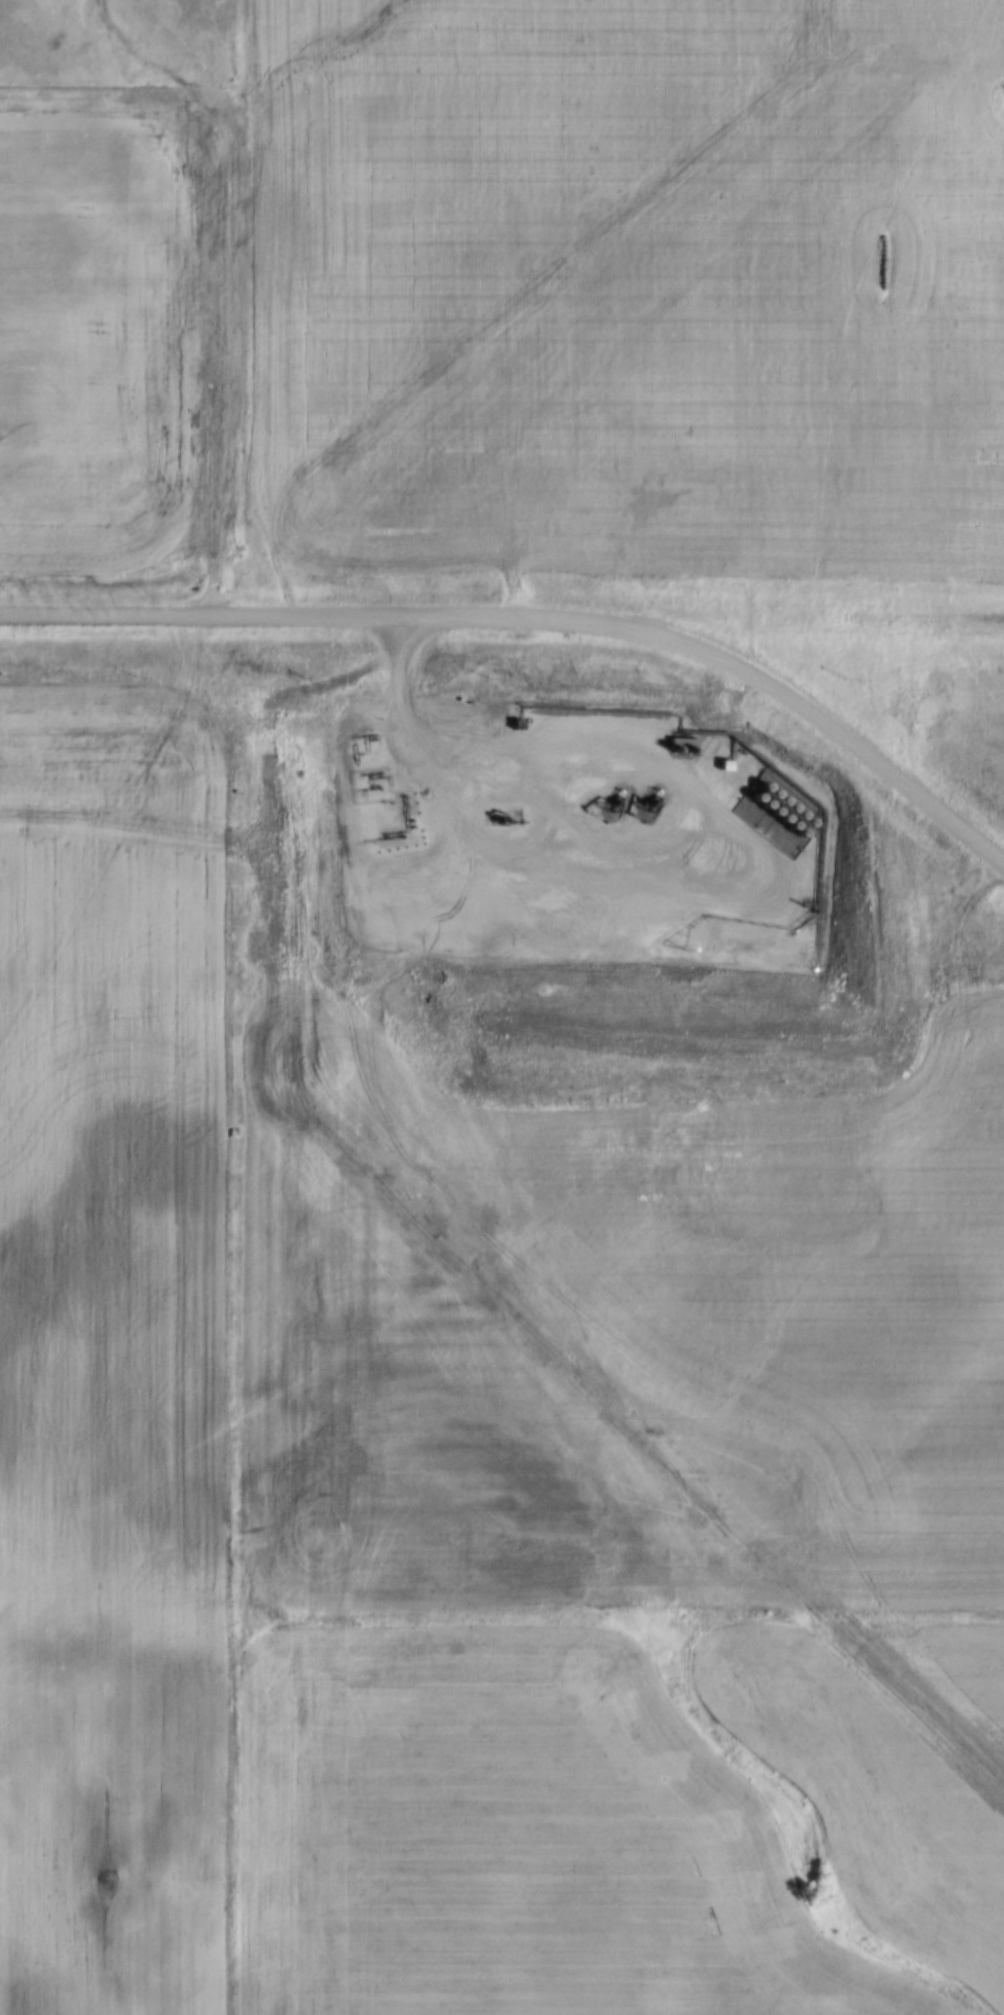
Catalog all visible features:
road: (542, 620)
building: (516, 721)
road: (714, 738)
petroleum well: (497, 818)

